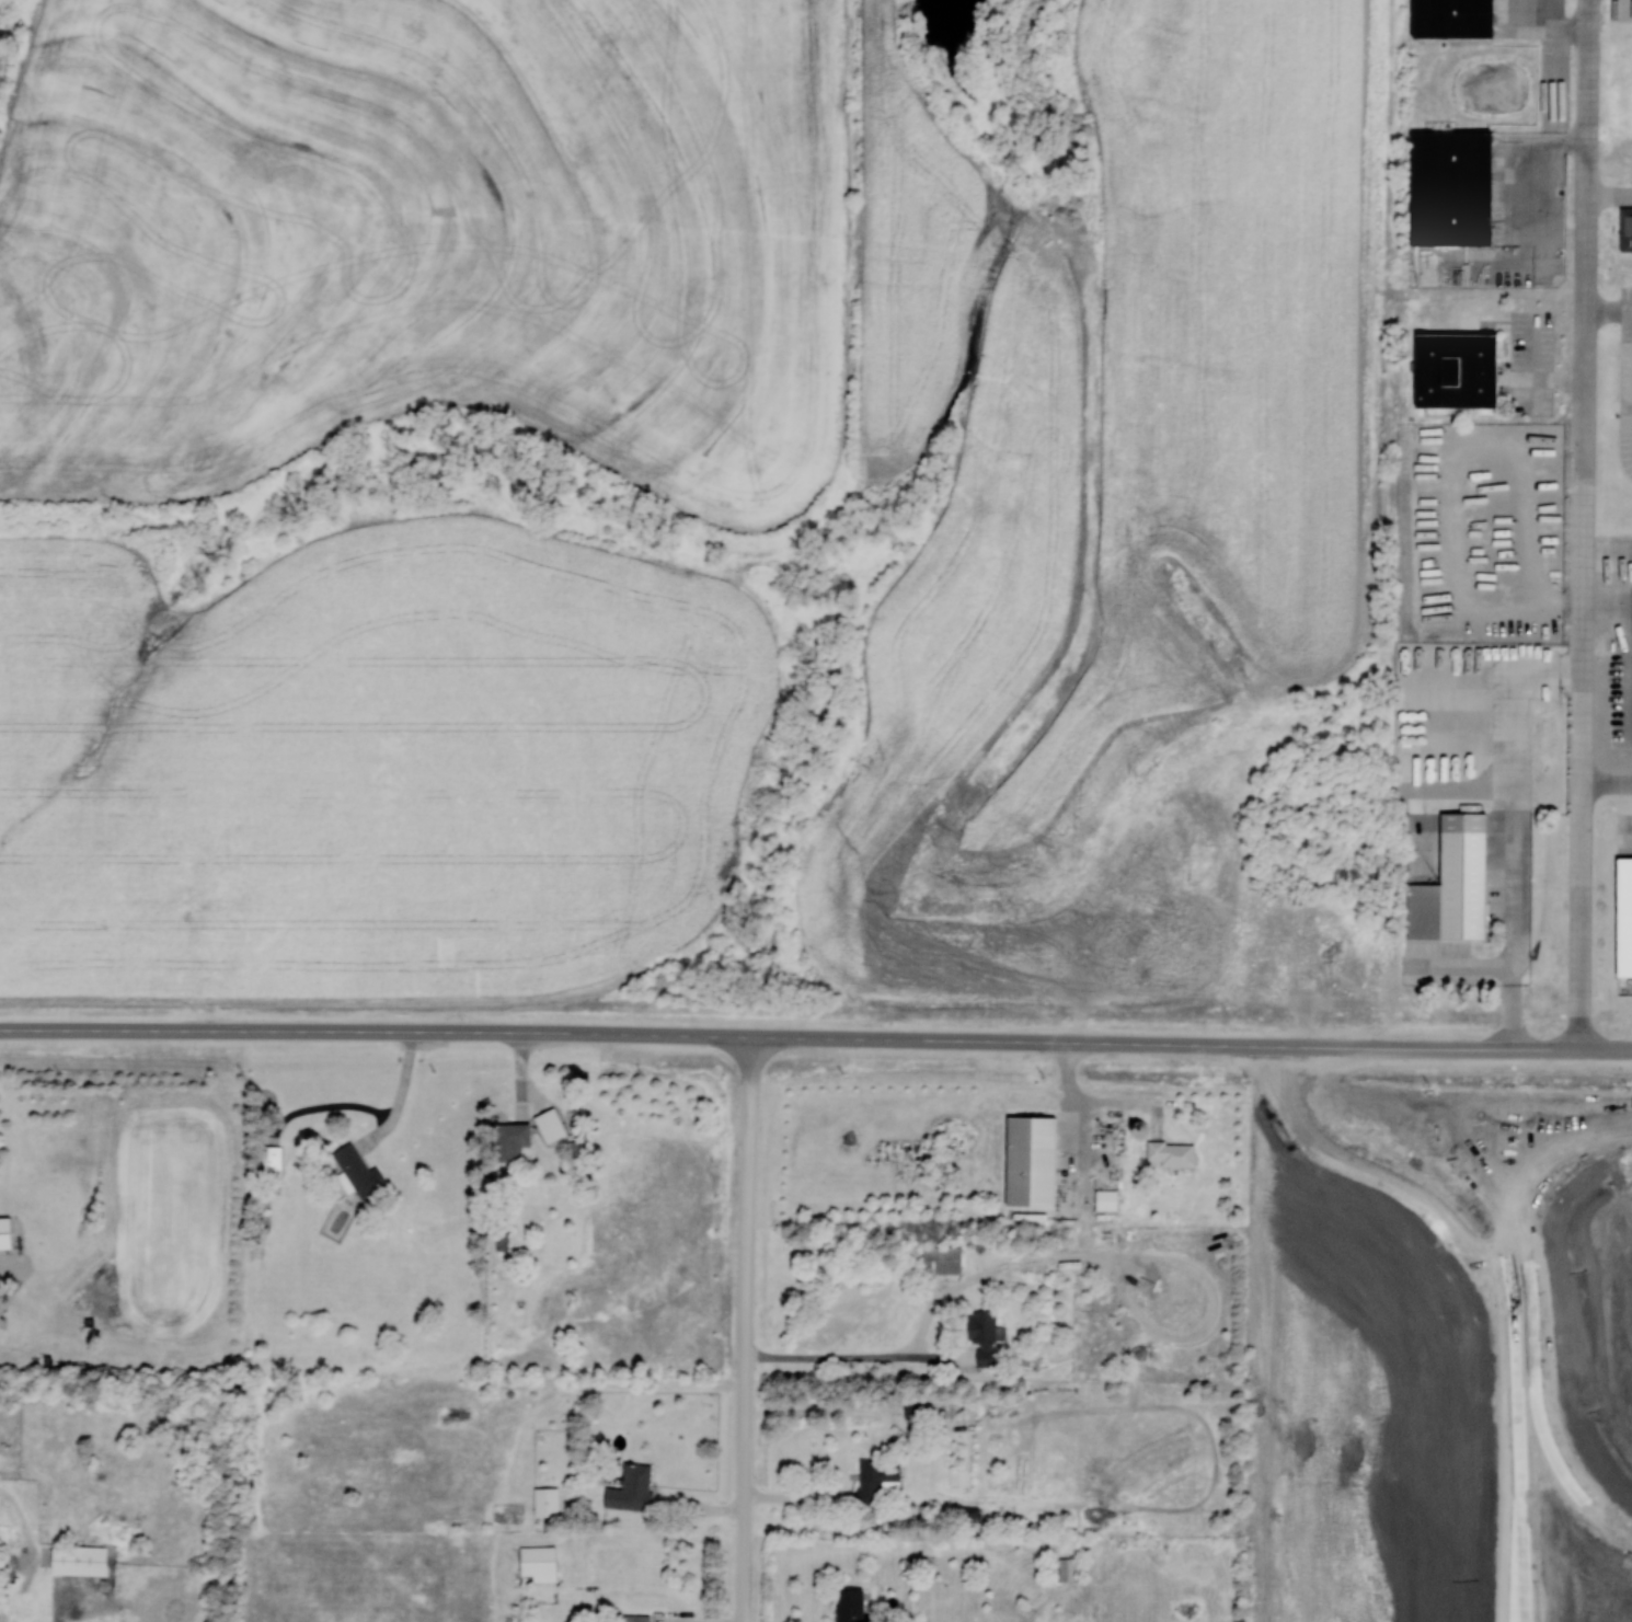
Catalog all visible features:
building: (1451, 18)
building: (1449, 187)
road: (1608, 194)
building: (1625, 229)
road: (1583, 480)
road: (1409, 964)
road: (1548, 1002)
road: (1567, 1011)
road: (1552, 1023)
road: (630, 1035)
road: (1590, 1063)
road: (1368, 1067)
road: (1356, 1083)
road: (1602, 1100)
building: (550, 1125)
road: (1604, 1132)
building: (514, 1134)
road: (1571, 1151)
building: (1172, 1152)
building: (272, 1160)
building: (1033, 1160)
building: (357, 1172)
building: (1107, 1198)
building: (5, 1232)
building: (497, 1244)
building: (942, 1258)
road: (1529, 1276)
road: (746, 1328)
building: (982, 1335)
road: (855, 1358)
road: (1514, 1388)
road: (1564, 1469)
building: (877, 1479)
building: (635, 1486)
building: (547, 1502)
building: (80, 1558)
building: (539, 1563)
building: (1067, 1569)
building: (851, 1604)
building: (635, 1618)

